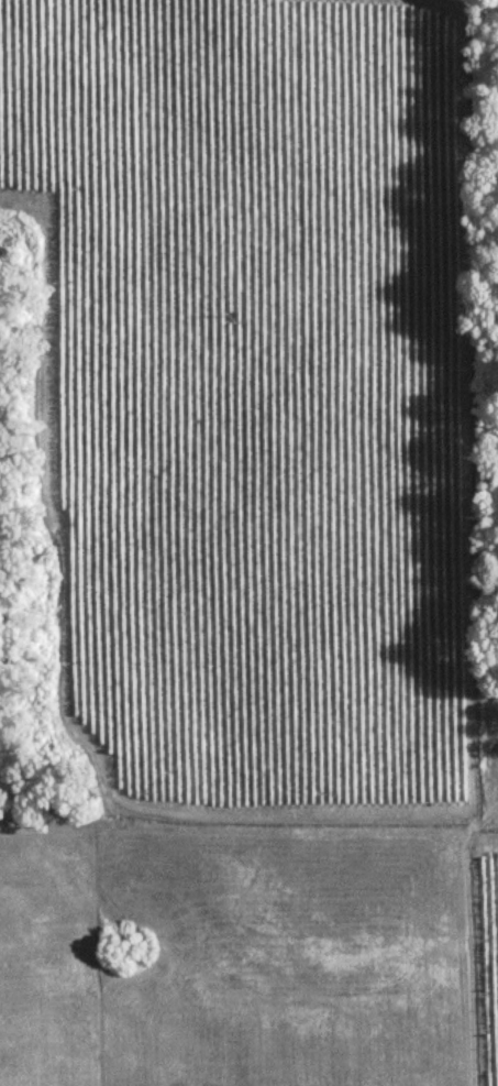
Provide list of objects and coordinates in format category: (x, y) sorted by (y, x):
road: (473, 966)

